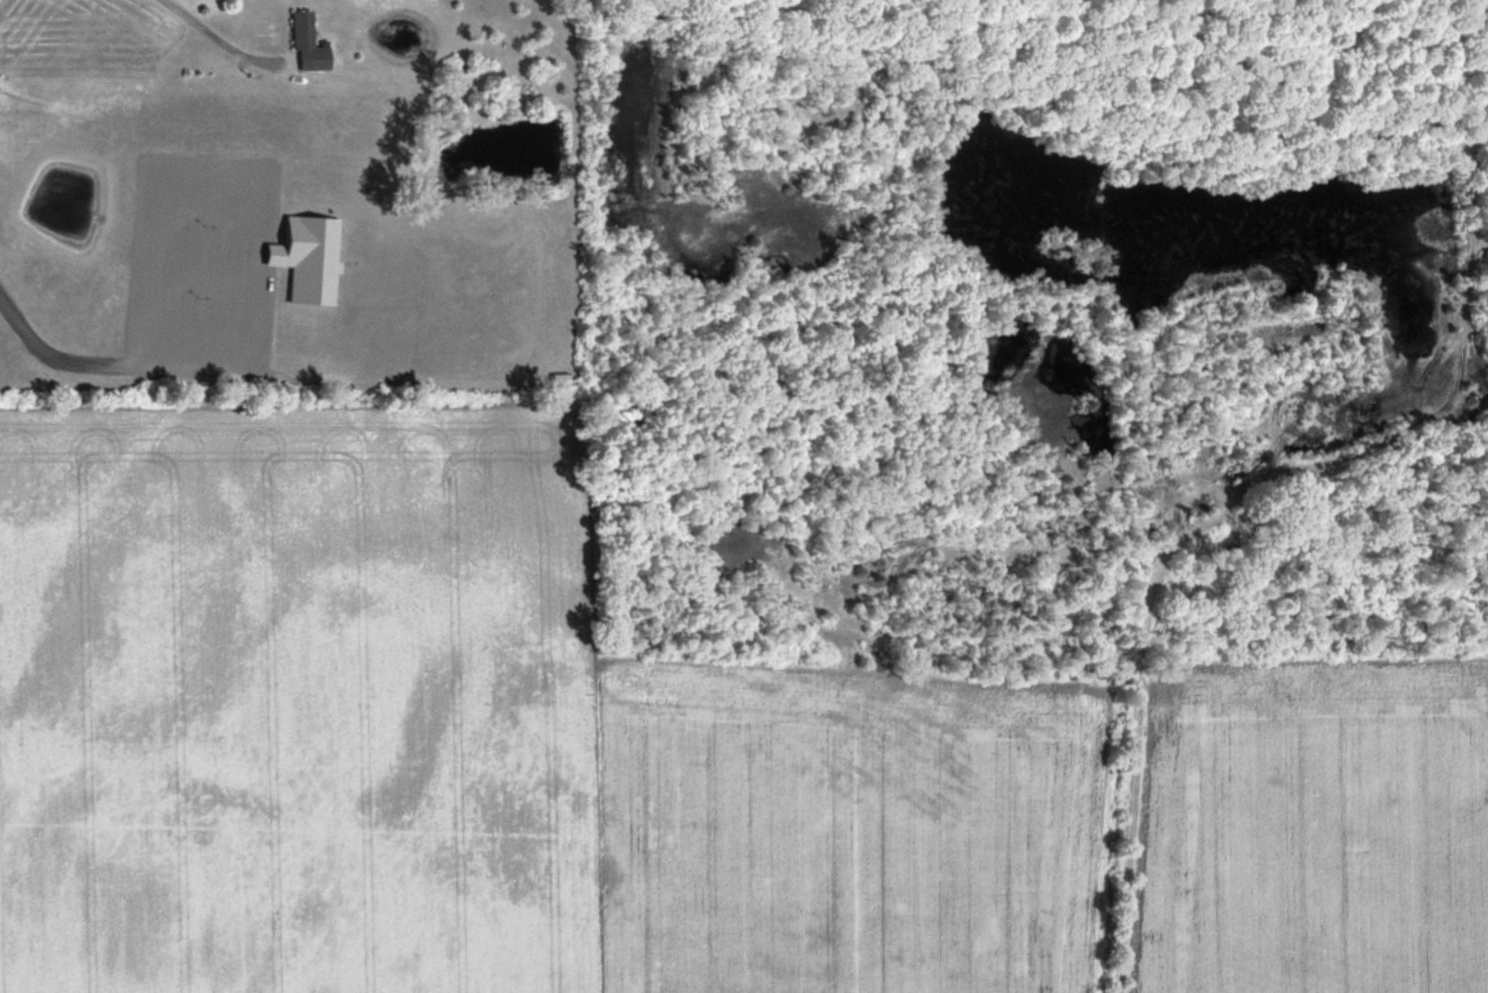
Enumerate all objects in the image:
road: (223, 39)
building: (309, 43)
road: (161, 361)
road: (1218, 496)

